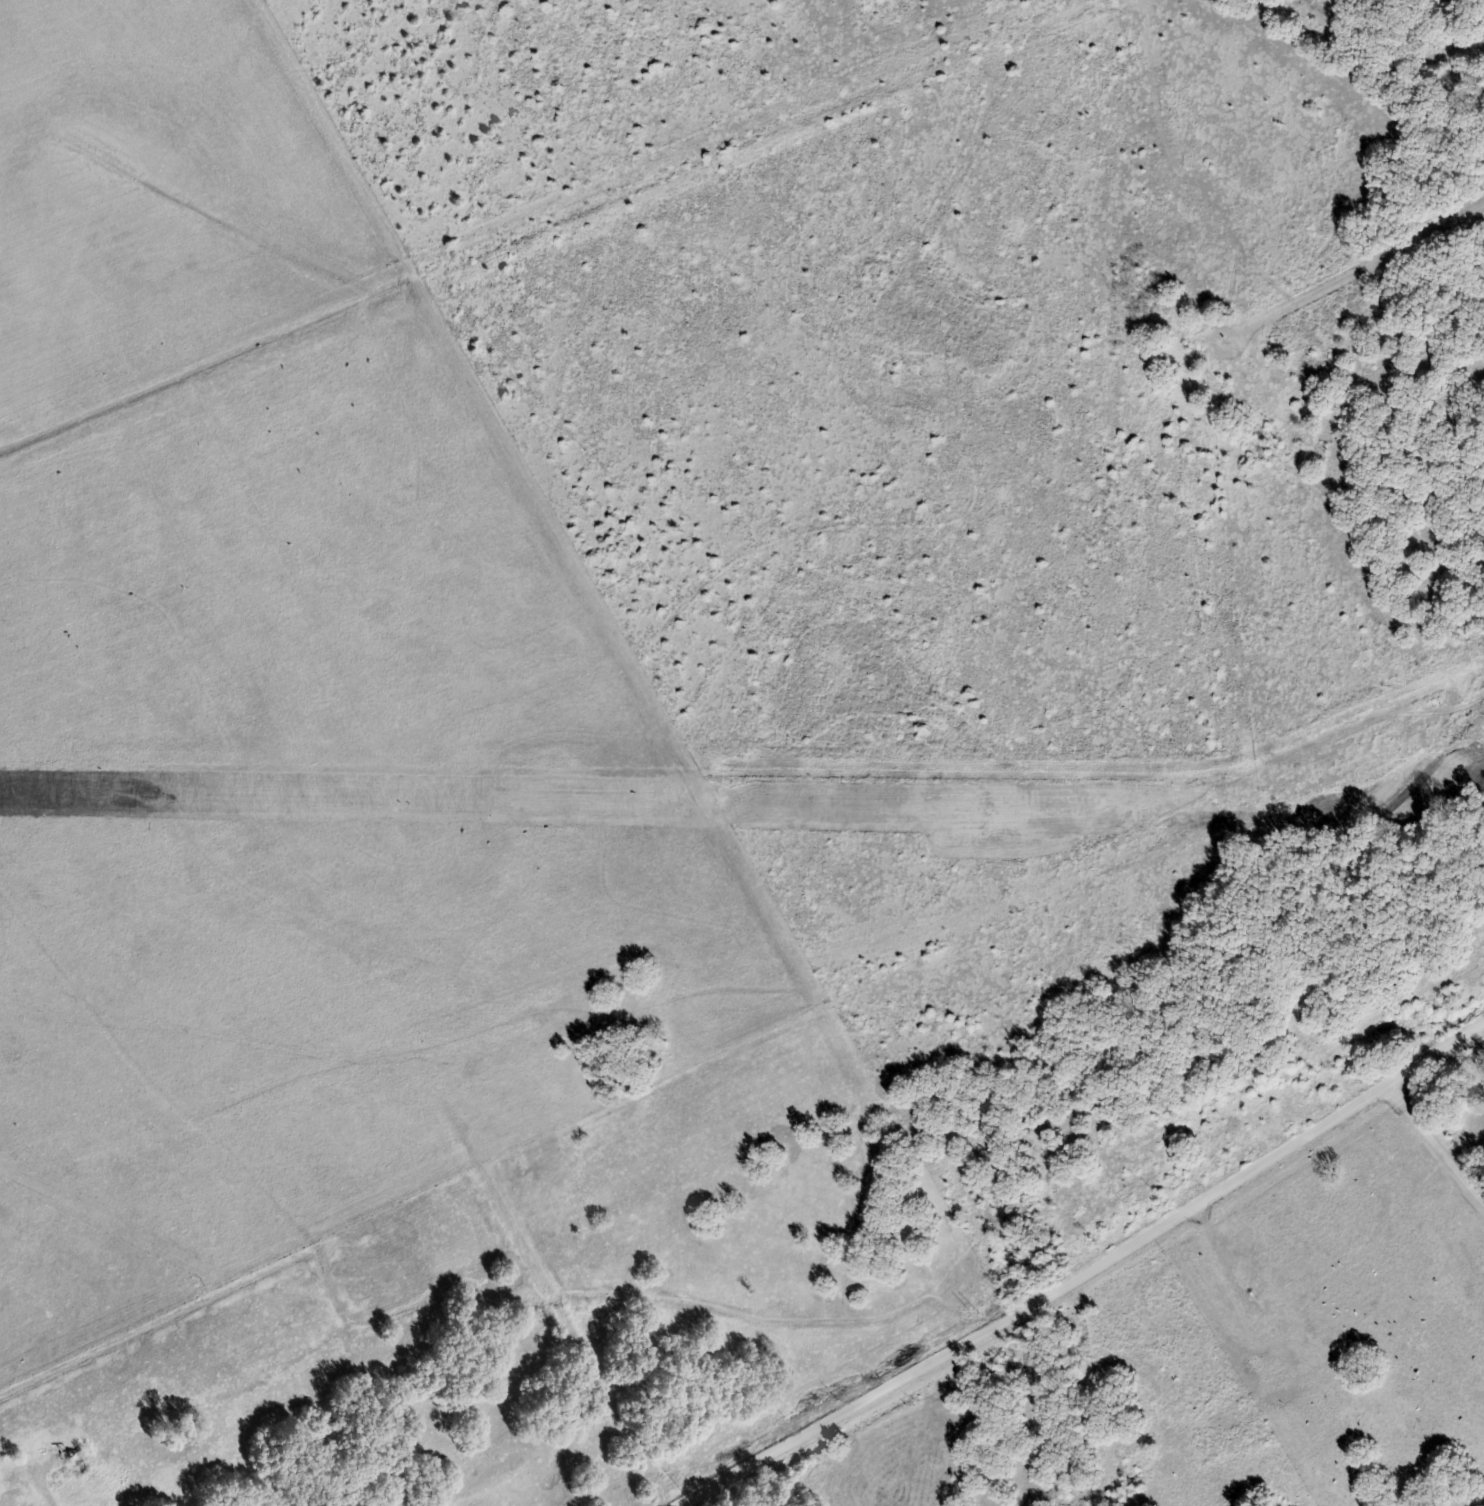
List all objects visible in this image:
road: (1367, 263)
road: (1201, 986)
road: (1438, 1142)
road: (1089, 1274)
road: (568, 1318)
road: (38, 1475)

